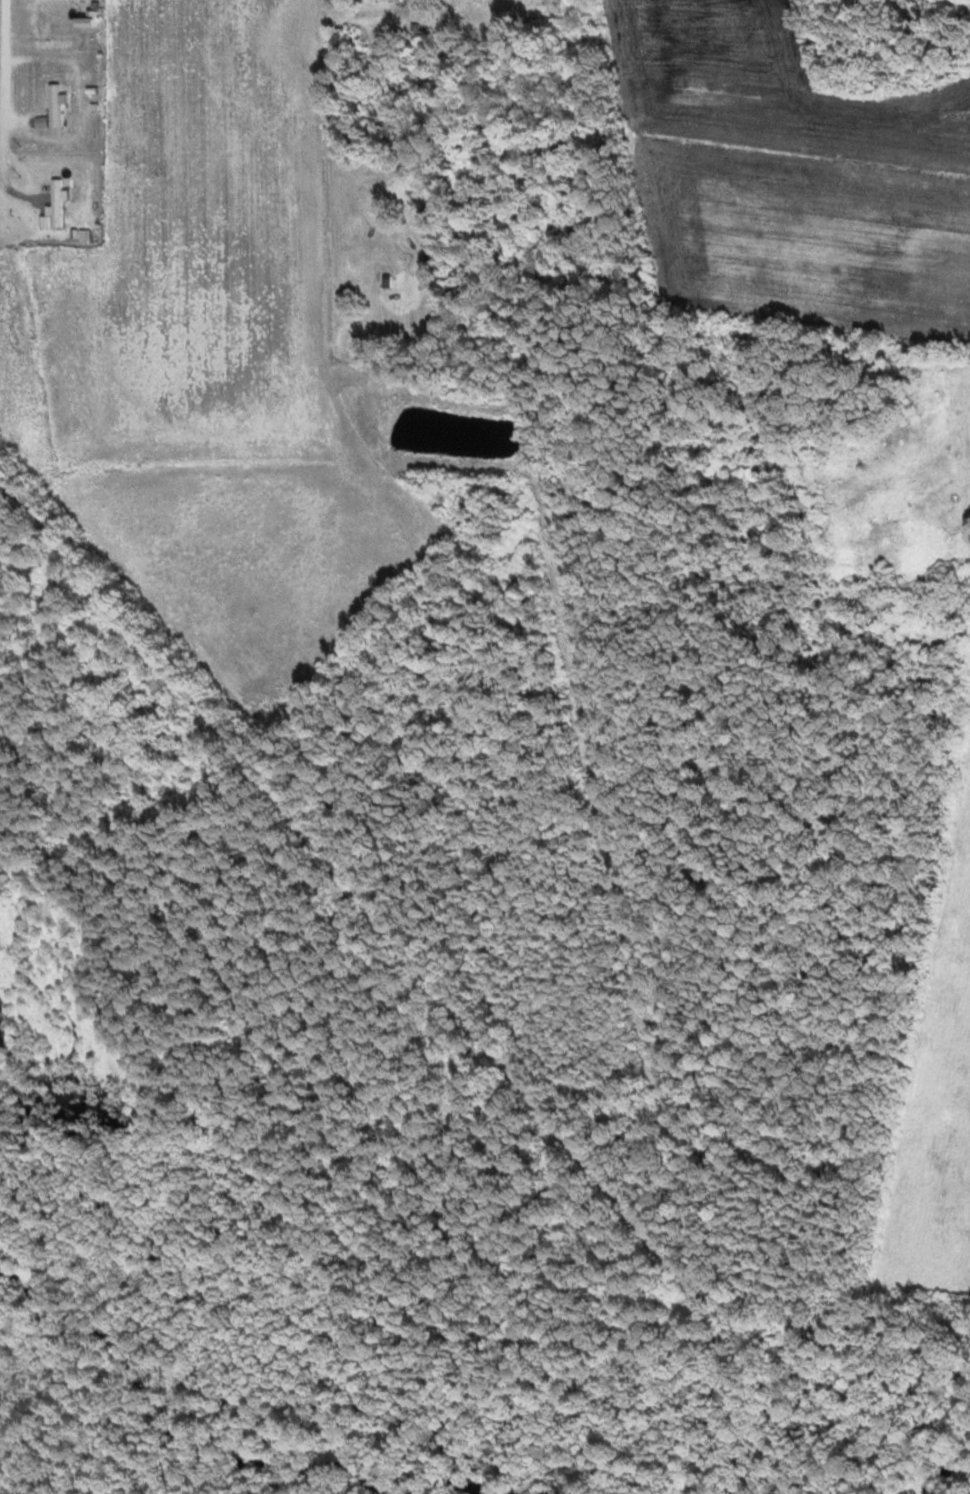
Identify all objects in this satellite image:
road: (332, 128)

